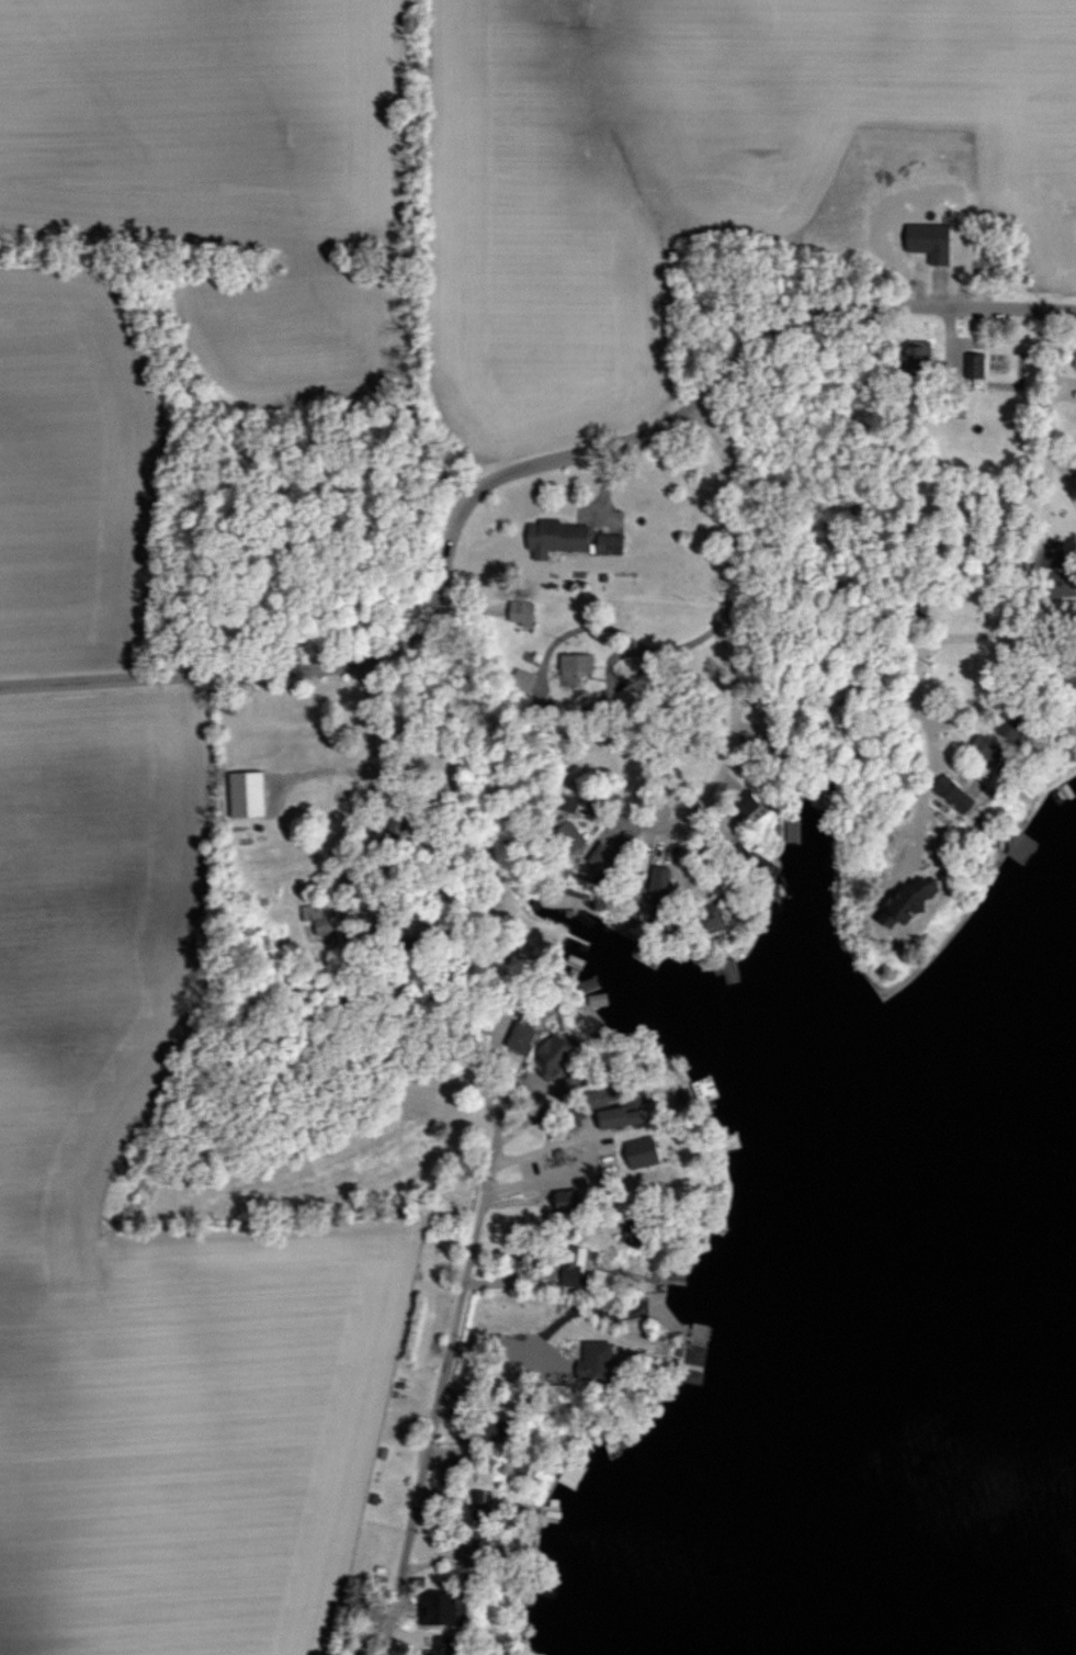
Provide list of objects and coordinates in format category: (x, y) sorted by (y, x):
building: (1074, 357)
building: (975, 364)
road: (511, 471)
road: (1064, 483)
road: (1072, 488)
building: (552, 536)
building: (605, 543)
building: (1057, 584)
road: (1023, 589)
building: (518, 612)
road: (732, 626)
building: (571, 666)
building: (520, 678)
road: (562, 710)
building: (982, 746)
building: (950, 792)
building: (243, 793)
building: (746, 800)
building: (568, 802)
road: (393, 814)
building: (566, 836)
building: (750, 860)
building: (654, 891)
building: (899, 901)
building: (706, 915)
building: (316, 921)
building: (546, 1056)
building: (608, 1117)
road: (495, 1128)
road: (548, 1130)
building: (571, 1265)
building: (693, 1353)
building: (591, 1362)
road: (432, 1416)
building: (475, 1499)

